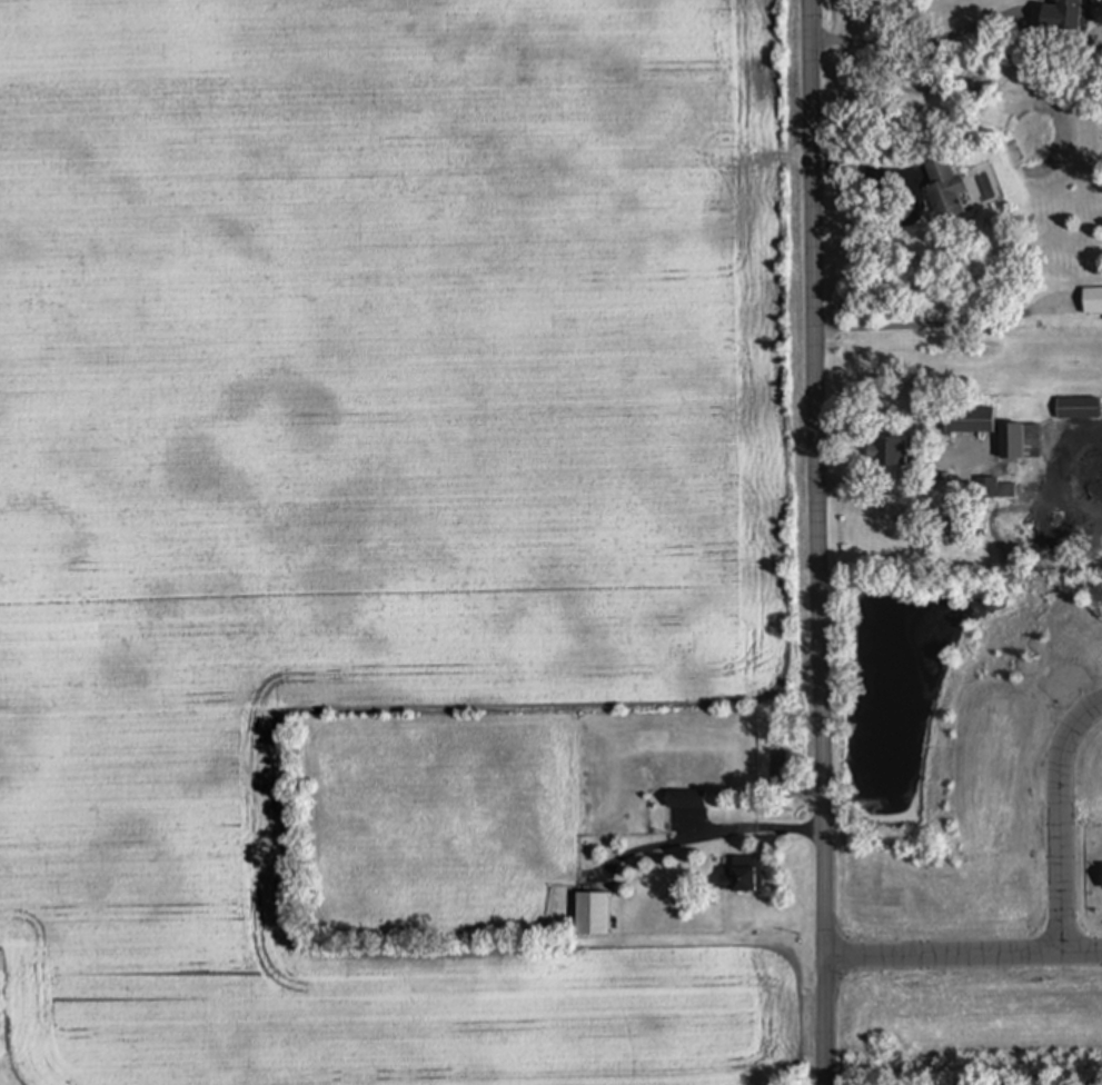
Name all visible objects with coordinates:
building: (1062, 17)
road: (925, 40)
building: (945, 190)
building: (1092, 301)
road: (936, 323)
road: (826, 402)
building: (1079, 409)
building: (970, 421)
building: (1019, 441)
building: (887, 454)
building: (990, 488)
building: (685, 798)
road: (1060, 817)
road: (725, 827)
building: (742, 874)
building: (593, 914)
road: (824, 945)
road: (962, 954)

